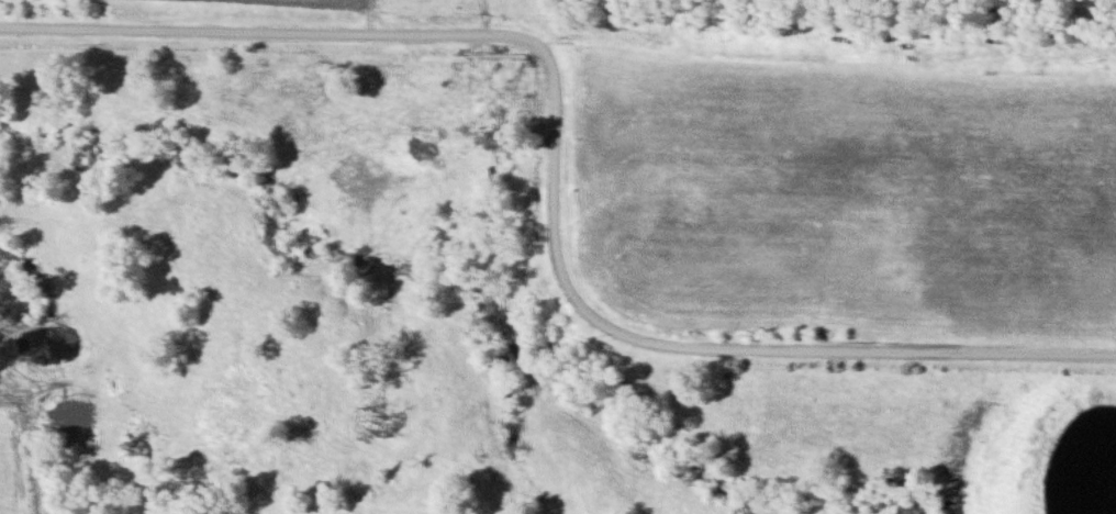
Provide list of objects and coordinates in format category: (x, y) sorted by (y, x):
road: (535, 193)

